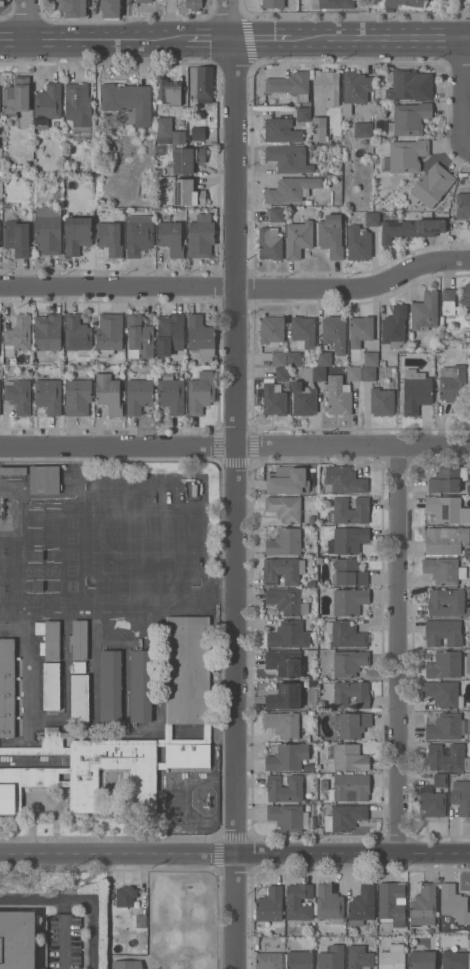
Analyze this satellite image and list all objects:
building: (144, 1)
building: (335, 3)
building: (404, 3)
building: (194, 4)
building: (273, 4)
building: (71, 8)
building: (110, 8)
road: (30, 20)
road: (127, 20)
road: (234, 20)
road: (466, 39)
road: (63, 40)
road: (181, 40)
road: (380, 40)
road: (267, 41)
building: (204, 84)
building: (298, 84)
building: (409, 84)
building: (327, 86)
building: (356, 87)
road: (462, 88)
building: (169, 91)
building: (17, 96)
building: (128, 102)
building: (48, 104)
building: (79, 109)
building: (303, 114)
building: (409, 119)
building: (380, 125)
building: (319, 129)
building: (363, 129)
building: (281, 131)
building: (169, 132)
building: (198, 133)
building: (108, 144)
building: (310, 147)
building: (159, 149)
building: (404, 156)
building: (289, 158)
building: (185, 160)
building: (75, 171)
building: (431, 186)
building: (293, 191)
building: (187, 193)
building: (462, 205)
building: (118, 210)
building: (277, 214)
building: (372, 219)
building: (411, 228)
building: (48, 230)
building: (77, 234)
building: (139, 234)
building: (331, 235)
building: (170, 236)
building: (200, 236)
building: (17, 238)
building: (109, 238)
building: (298, 239)
building: (358, 243)
building: (270, 244)
road: (237, 290)
building: (465, 295)
building: (448, 301)
building: (425, 311)
building: (394, 326)
building: (272, 330)
building: (360, 330)
building: (48, 332)
building: (303, 332)
building: (169, 333)
building: (334, 333)
building: (109, 334)
building: (18, 335)
building: (77, 335)
building: (201, 337)
building: (139, 338)
building: (279, 359)
building: (294, 359)
building: (324, 359)
building: (371, 359)
building: (183, 369)
building: (382, 372)
building: (282, 374)
building: (354, 374)
building: (369, 374)
building: (453, 386)
building: (416, 391)
building: (306, 392)
building: (109, 393)
building: (171, 393)
building: (200, 393)
building: (19, 395)
building: (48, 395)
building: (138, 395)
building: (339, 396)
building: (78, 397)
building: (274, 399)
building: (382, 402)
road: (235, 448)
building: (13, 470)
building: (447, 479)
building: (44, 480)
building: (288, 480)
building: (343, 480)
building: (468, 489)
road: (239, 504)
building: (285, 508)
building: (447, 510)
building: (349, 511)
building: (311, 519)
building: (347, 540)
building: (446, 541)
building: (285, 542)
building: (466, 551)
building: (469, 560)
building: (283, 570)
building: (444, 570)
building: (349, 573)
building: (311, 584)
building: (288, 601)
building: (349, 601)
building: (447, 603)
building: (443, 632)
building: (345, 634)
building: (288, 635)
building: (49, 639)
building: (80, 640)
road: (399, 649)
building: (308, 658)
building: (286, 663)
building: (349, 663)
building: (444, 665)
building: (79, 667)
building: (187, 669)
building: (7, 686)
building: (51, 686)
building: (110, 686)
building: (140, 686)
building: (351, 694)
building: (443, 694)
building: (284, 696)
building: (80, 698)
building: (311, 713)
building: (283, 724)
building: (352, 724)
building: (446, 727)
building: (206, 731)
building: (52, 739)
building: (35, 750)
building: (187, 755)
building: (287, 757)
building: (347, 757)
building: (447, 758)
building: (160, 766)
building: (308, 767)
building: (64, 770)
building: (84, 777)
building: (440, 780)
building: (64, 783)
building: (23, 784)
building: (324, 785)
building: (285, 788)
building: (349, 788)
building: (461, 796)
building: (431, 802)
building: (308, 808)
building: (313, 808)
building: (288, 817)
building: (344, 818)
building: (321, 830)
road: (235, 853)
building: (124, 895)
road: (80, 901)
building: (298, 903)
building: (391, 903)
building: (269, 904)
building: (329, 904)
building: (454, 904)
building: (361, 905)
building: (423, 906)
building: (140, 920)
building: (468, 936)
building: (18, 940)
building: (359, 957)
building: (331, 958)
building: (392, 958)
building: (300, 960)
building: (422, 960)
building: (455, 960)
building: (269, 961)
building: (127, 963)

